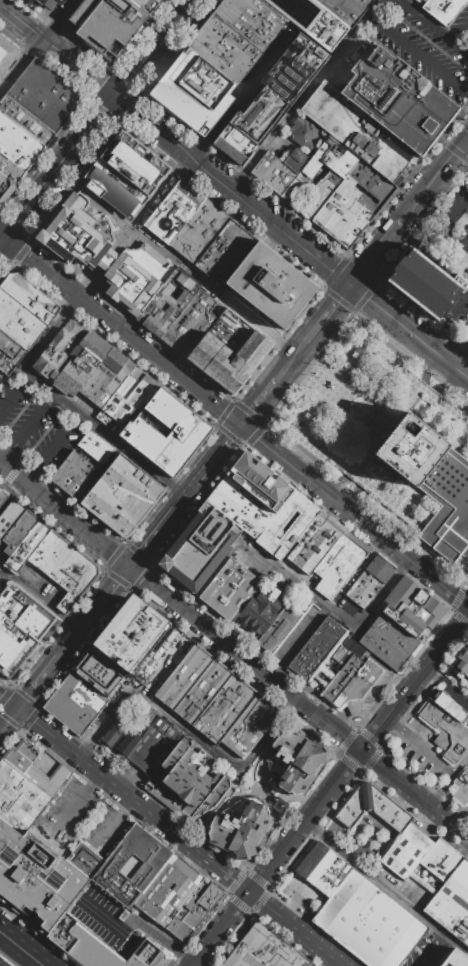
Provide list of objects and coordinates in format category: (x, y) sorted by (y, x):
building: (423, 0)
building: (49, 3)
parking garage: (49, 3)
building: (146, 5)
building: (345, 9)
building: (443, 10)
building: (268, 12)
building: (256, 17)
building: (312, 20)
road: (64, 21)
building: (246, 21)
building: (108, 24)
road: (23, 25)
building: (240, 27)
road: (432, 28)
road: (459, 30)
building: (233, 37)
parking lot: (427, 45)
road: (153, 48)
building: (224, 48)
building: (7, 54)
road: (418, 56)
building: (216, 59)
road: (20, 65)
road: (81, 69)
building: (194, 92)
road: (242, 96)
road: (306, 96)
building: (46, 97)
traffic signals: (115, 97)
building: (273, 98)
building: (396, 100)
building: (27, 122)
road: (153, 129)
building: (356, 131)
building: (305, 133)
building: (22, 134)
road: (464, 139)
road: (464, 141)
building: (20, 143)
traffic signals: (461, 143)
road: (464, 145)
building: (16, 155)
building: (295, 159)
building: (134, 162)
road: (59, 167)
building: (266, 167)
building: (347, 167)
building: (11, 170)
building: (281, 179)
road: (432, 181)
building: (117, 183)
building: (295, 188)
building: (6, 190)
road: (160, 192)
building: (173, 193)
building: (318, 194)
building: (107, 195)
building: (357, 196)
building: (180, 198)
road: (94, 200)
building: (185, 202)
building: (191, 206)
building: (327, 209)
building: (337, 216)
building: (84, 221)
road: (446, 222)
building: (162, 223)
building: (345, 224)
building: (190, 225)
building: (353, 230)
parking lot: (452, 230)
building: (199, 231)
traffic signals: (4, 238)
building: (207, 238)
road: (271, 238)
road: (2, 240)
building: (78, 242)
building: (218, 247)
building: (62, 249)
road: (375, 253)
road: (449, 256)
building: (232, 258)
road: (105, 261)
road: (179, 262)
road: (329, 272)
parking lot: (133, 275)
building: (136, 277)
building: (424, 283)
building: (269, 285)
traffic signals: (349, 287)
building: (30, 296)
building: (166, 303)
road: (219, 306)
building: (22, 313)
parking lot: (465, 314)
road: (122, 319)
road: (323, 319)
road: (447, 320)
building: (189, 324)
road: (261, 325)
road: (120, 329)
building: (16, 331)
road: (48, 335)
building: (212, 339)
building: (246, 344)
building: (56, 346)
building: (11, 347)
road: (459, 356)
building: (355, 357)
building: (68, 360)
building: (6, 362)
building: (79, 363)
building: (220, 364)
road: (287, 367)
building: (86, 369)
building: (97, 371)
building: (235, 377)
park: (3, 380)
building: (108, 380)
road: (270, 388)
road: (425, 390)
road: (15, 393)
road: (53, 393)
building: (147, 394)
building: (118, 395)
building: (131, 399)
building: (156, 400)
parking lot: (353, 404)
building: (165, 408)
road: (253, 410)
building: (308, 418)
traffic signals: (241, 425)
building: (194, 426)
parking lot: (36, 428)
road: (28, 430)
building: (158, 434)
road: (258, 439)
building: (95, 446)
road: (50, 447)
building: (411, 450)
road: (217, 453)
road: (131, 454)
building: (180, 454)
building: (170, 466)
building: (65, 468)
road: (357, 475)
building: (77, 477)
building: (138, 477)
building: (259, 481)
building: (129, 486)
road: (10, 495)
building: (2, 496)
building: (123, 496)
road: (184, 496)
road: (76, 501)
building: (239, 507)
building: (111, 511)
building: (447, 512)
building: (9, 516)
road: (64, 516)
building: (218, 524)
building: (286, 525)
road: (371, 529)
building: (18, 531)
road: (151, 538)
building: (207, 541)
building: (313, 542)
building: (26, 547)
building: (44, 550)
building: (52, 557)
building: (194, 557)
building: (59, 562)
building: (338, 563)
traffic signals: (128, 567)
building: (181, 573)
building: (74, 574)
road: (213, 575)
building: (369, 581)
parking lot: (2, 583)
road: (106, 594)
building: (243, 598)
road: (39, 599)
building: (65, 603)
building: (411, 606)
building: (24, 610)
road: (333, 611)
building: (280, 629)
building: (133, 633)
building: (393, 634)
building: (15, 636)
road: (72, 638)
building: (317, 649)
building: (382, 649)
building: (4, 653)
building: (462, 658)
building: (162, 660)
building: (10, 664)
building: (465, 669)
building: (99, 670)
building: (177, 672)
building: (371, 676)
building: (340, 679)
building: (187, 680)
road: (38, 682)
building: (78, 684)
building: (201, 691)
building: (68, 697)
building: (353, 698)
road: (297, 701)
road: (8, 702)
building: (450, 705)
traffic signals: (16, 709)
building: (223, 709)
building: (58, 710)
building: (86, 712)
building: (431, 713)
building: (147, 714)
road: (8, 719)
building: (243, 721)
building: (254, 730)
road: (188, 732)
building: (112, 734)
building: (451, 738)
building: (146, 741)
building: (127, 743)
building: (287, 743)
road: (418, 744)
building: (159, 751)
parking lot: (418, 753)
building: (20, 755)
road: (358, 755)
building: (309, 756)
building: (47, 778)
building: (192, 779)
building: (294, 779)
building: (461, 786)
road: (440, 787)
road: (249, 792)
road: (267, 793)
building: (19, 798)
building: (372, 808)
road: (217, 809)
road: (71, 814)
parking lot: (81, 821)
road: (114, 822)
building: (239, 831)
road: (423, 831)
road: (178, 837)
parking lot: (368, 840)
building: (406, 852)
building: (122, 858)
building: (311, 859)
building: (428, 859)
building: (85, 860)
building: (437, 866)
building: (323, 868)
building: (445, 872)
building: (141, 873)
building: (335, 877)
building: (36, 878)
building: (160, 884)
road: (385, 888)
parking lot: (301, 895)
building: (177, 896)
building: (210, 897)
building: (452, 903)
building: (192, 912)
road: (115, 921)
building: (369, 922)
parking lot: (119, 923)
building: (179, 929)
road: (220, 930)
road: (442, 938)
building: (99, 947)
road: (172, 947)
road: (21, 948)
building: (265, 950)
parking lot: (431, 952)
road: (430, 954)
building: (453, 958)
parking lot: (4, 962)

